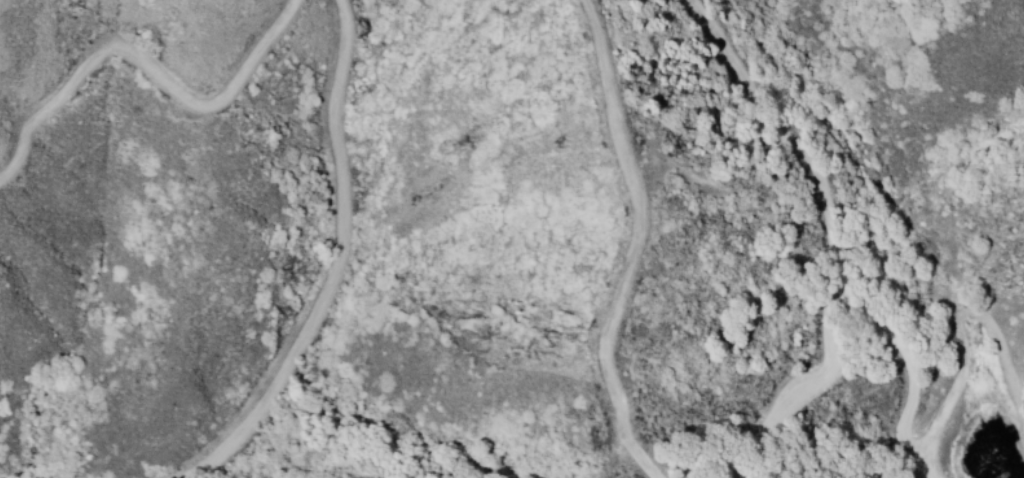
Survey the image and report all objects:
road: (779, 134)
road: (917, 368)

